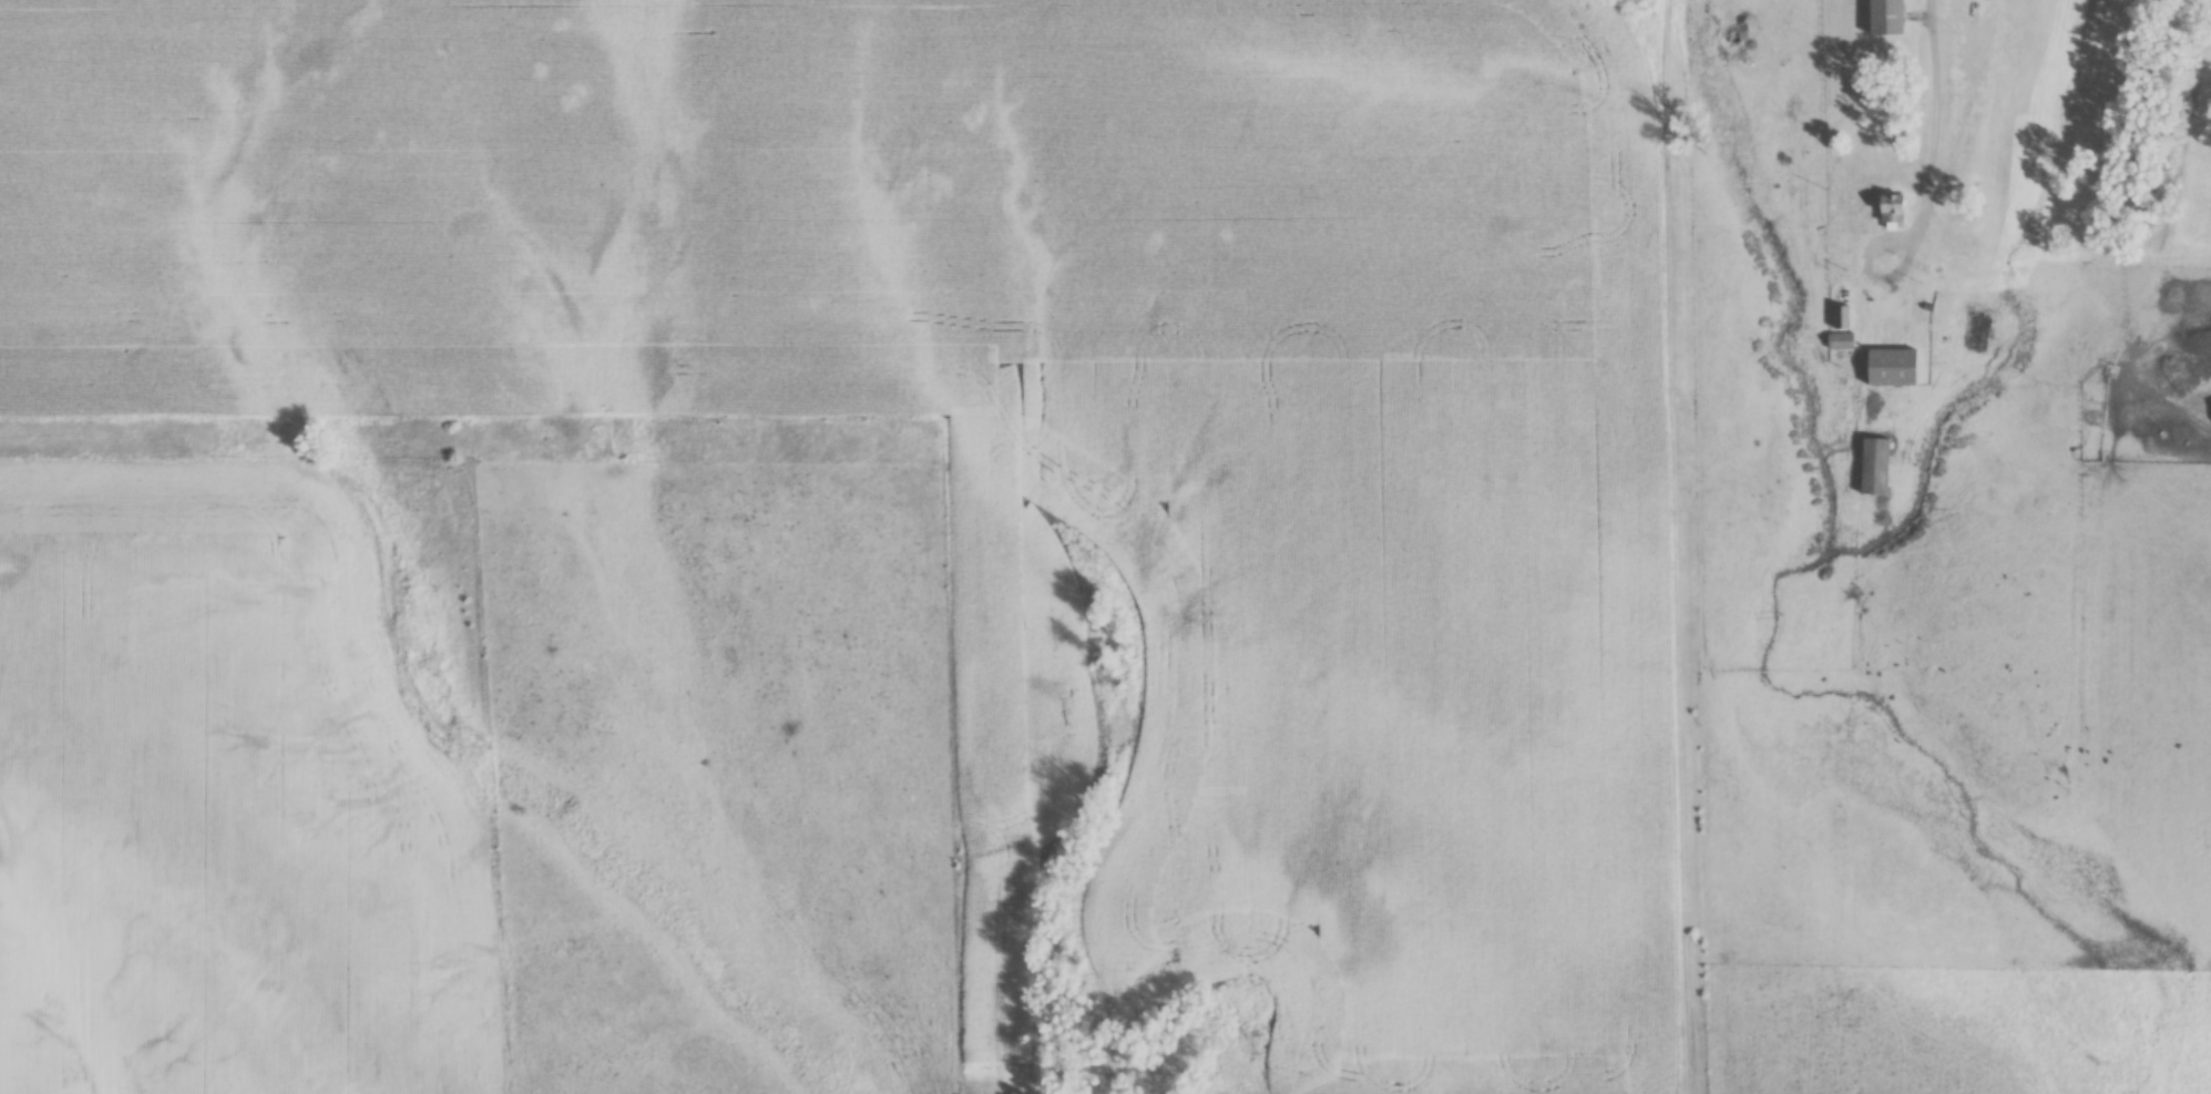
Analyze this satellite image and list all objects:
building: (1883, 19)
building: (1890, 212)
building: (1834, 247)
building: (1972, 330)
building: (1888, 370)
building: (1871, 468)

